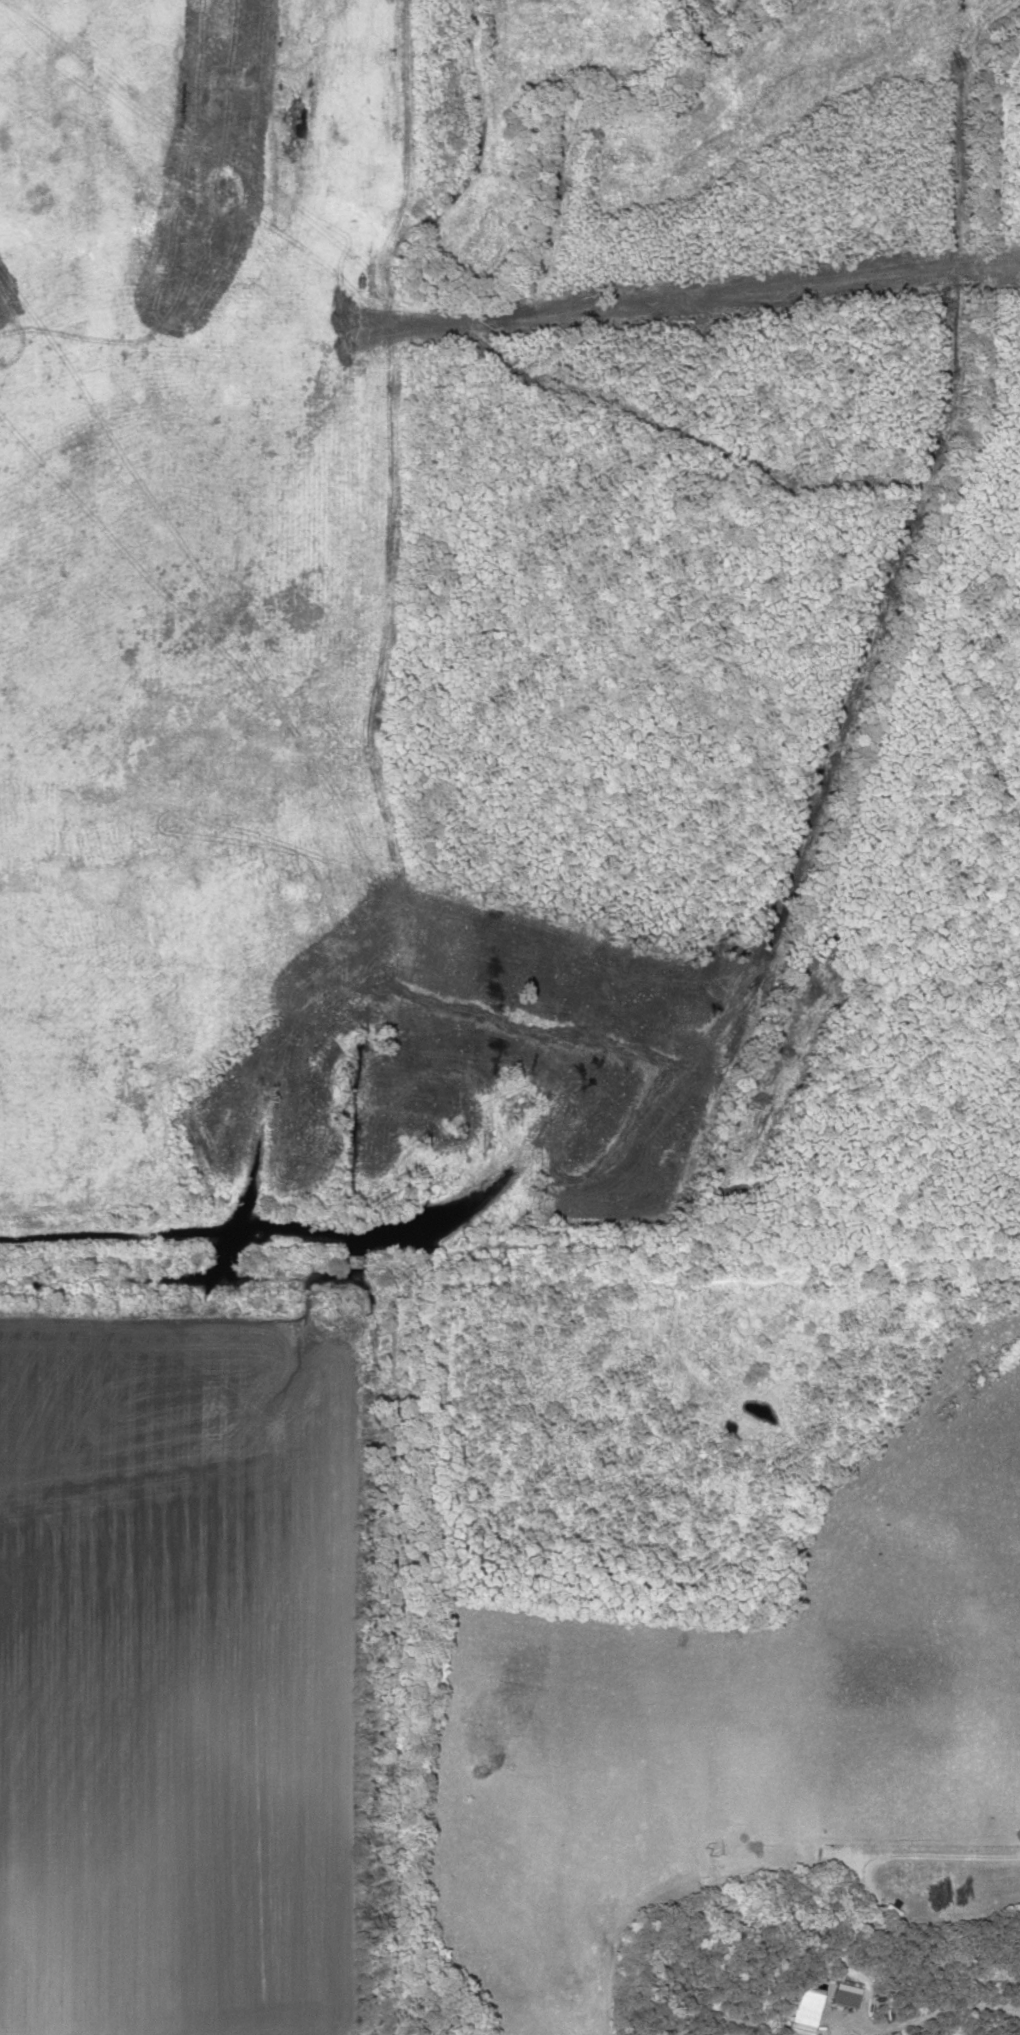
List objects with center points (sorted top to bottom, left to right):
building: (844, 1993)
building: (804, 2005)
road: (941, 2013)

